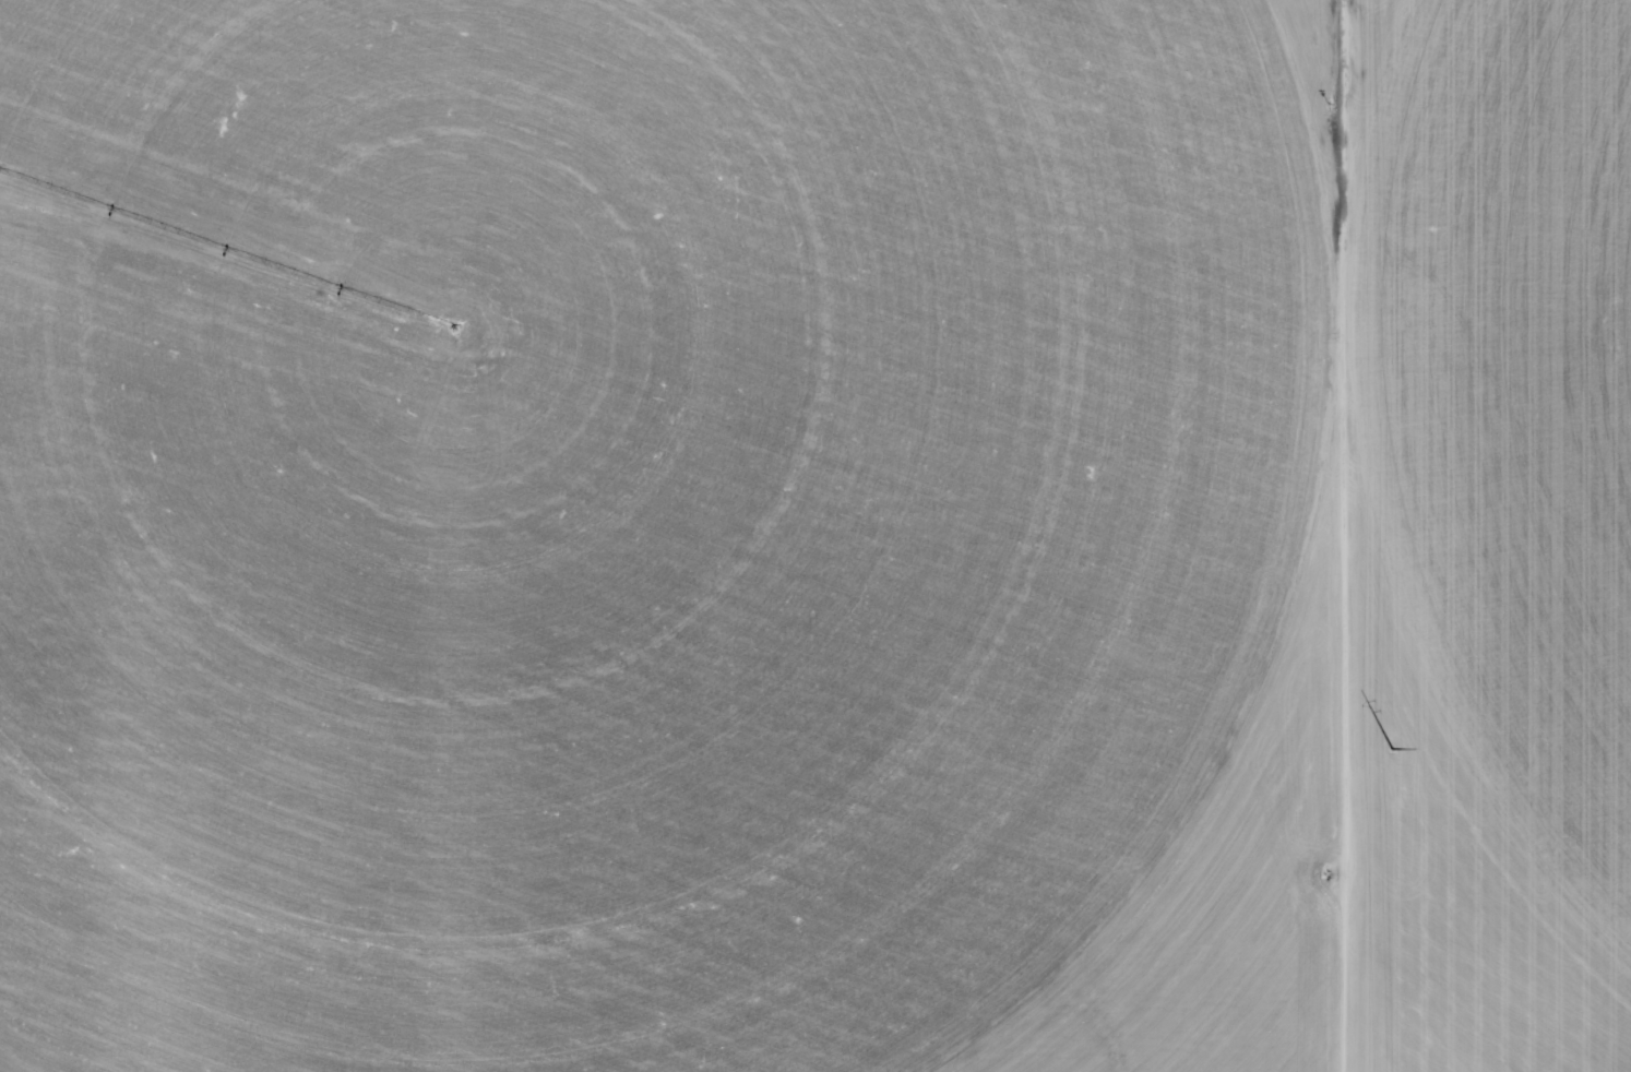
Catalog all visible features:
power tower: (1390, 751)

